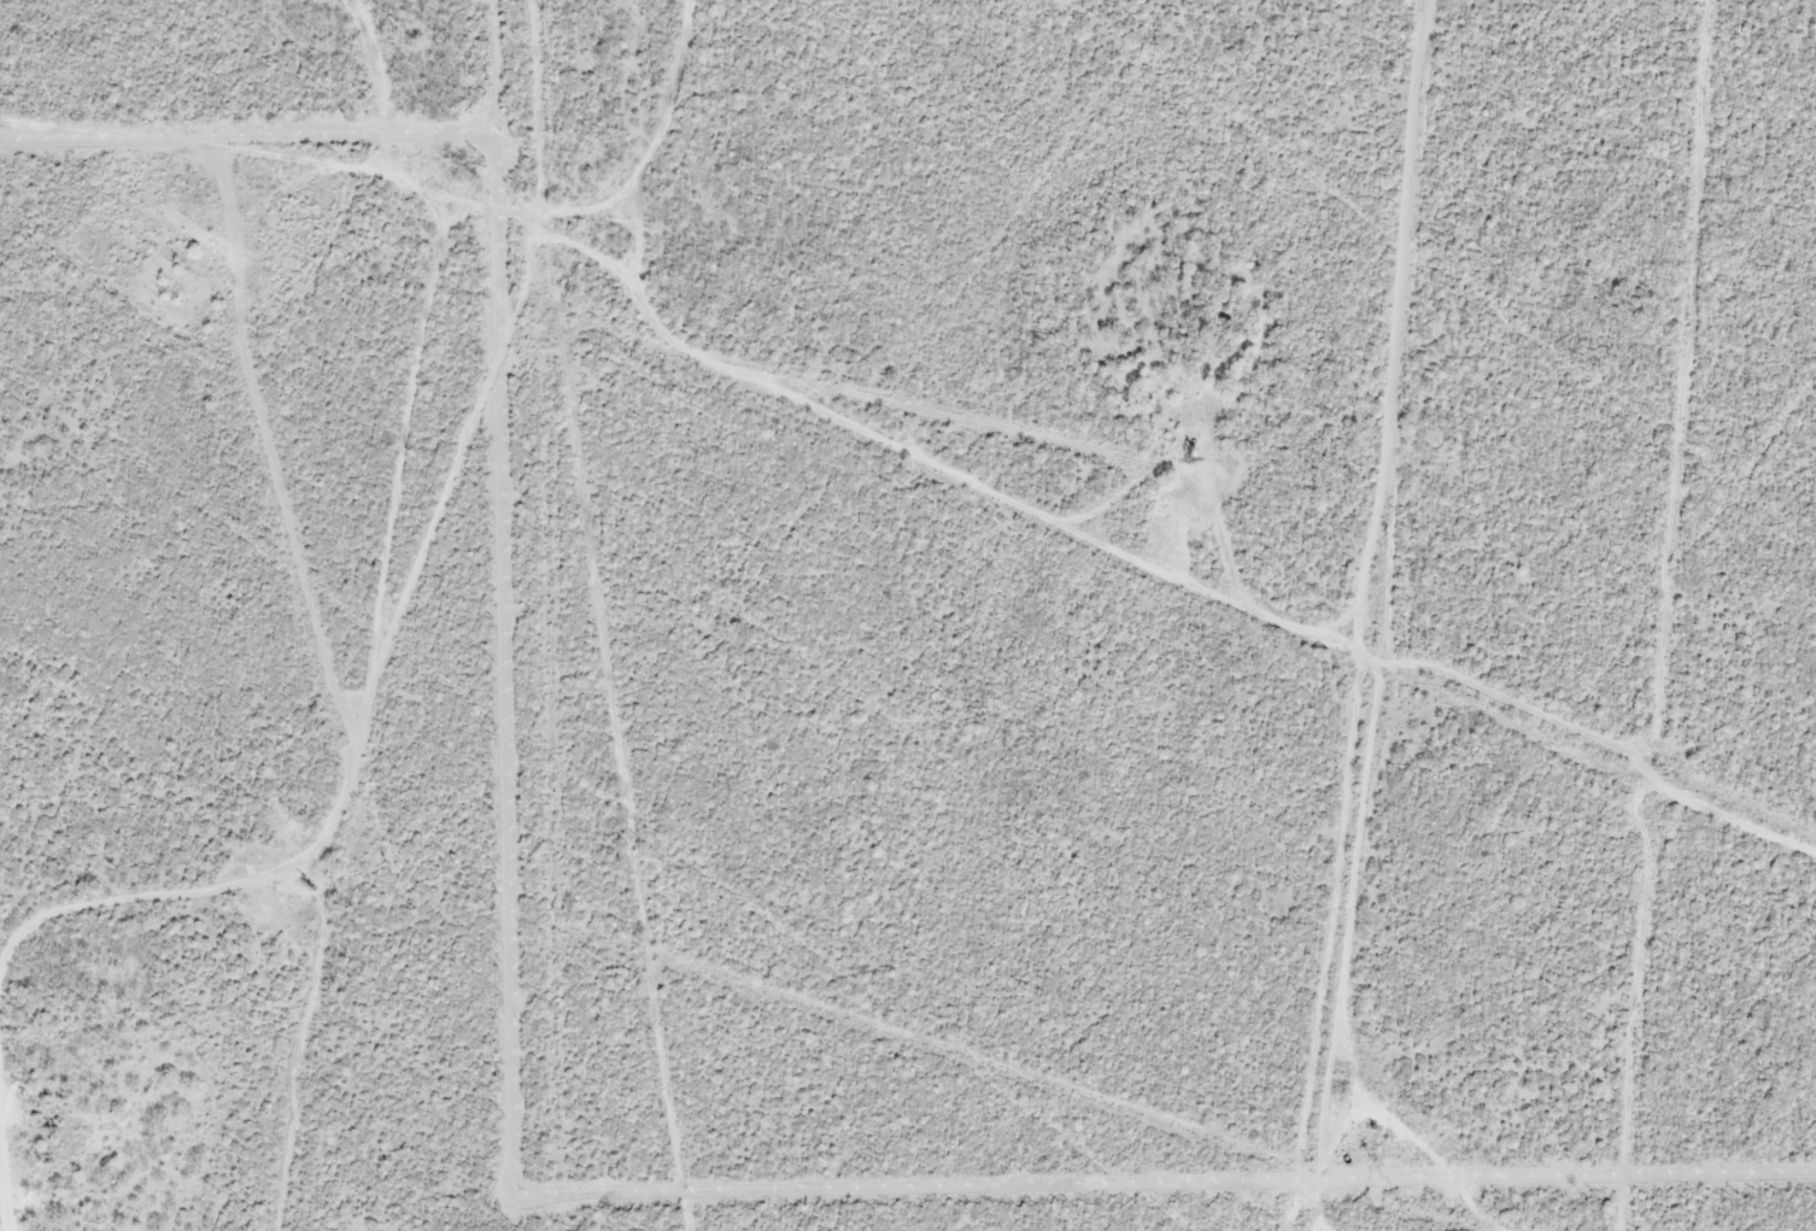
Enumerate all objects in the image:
road: (650, 154)
road: (951, 496)

